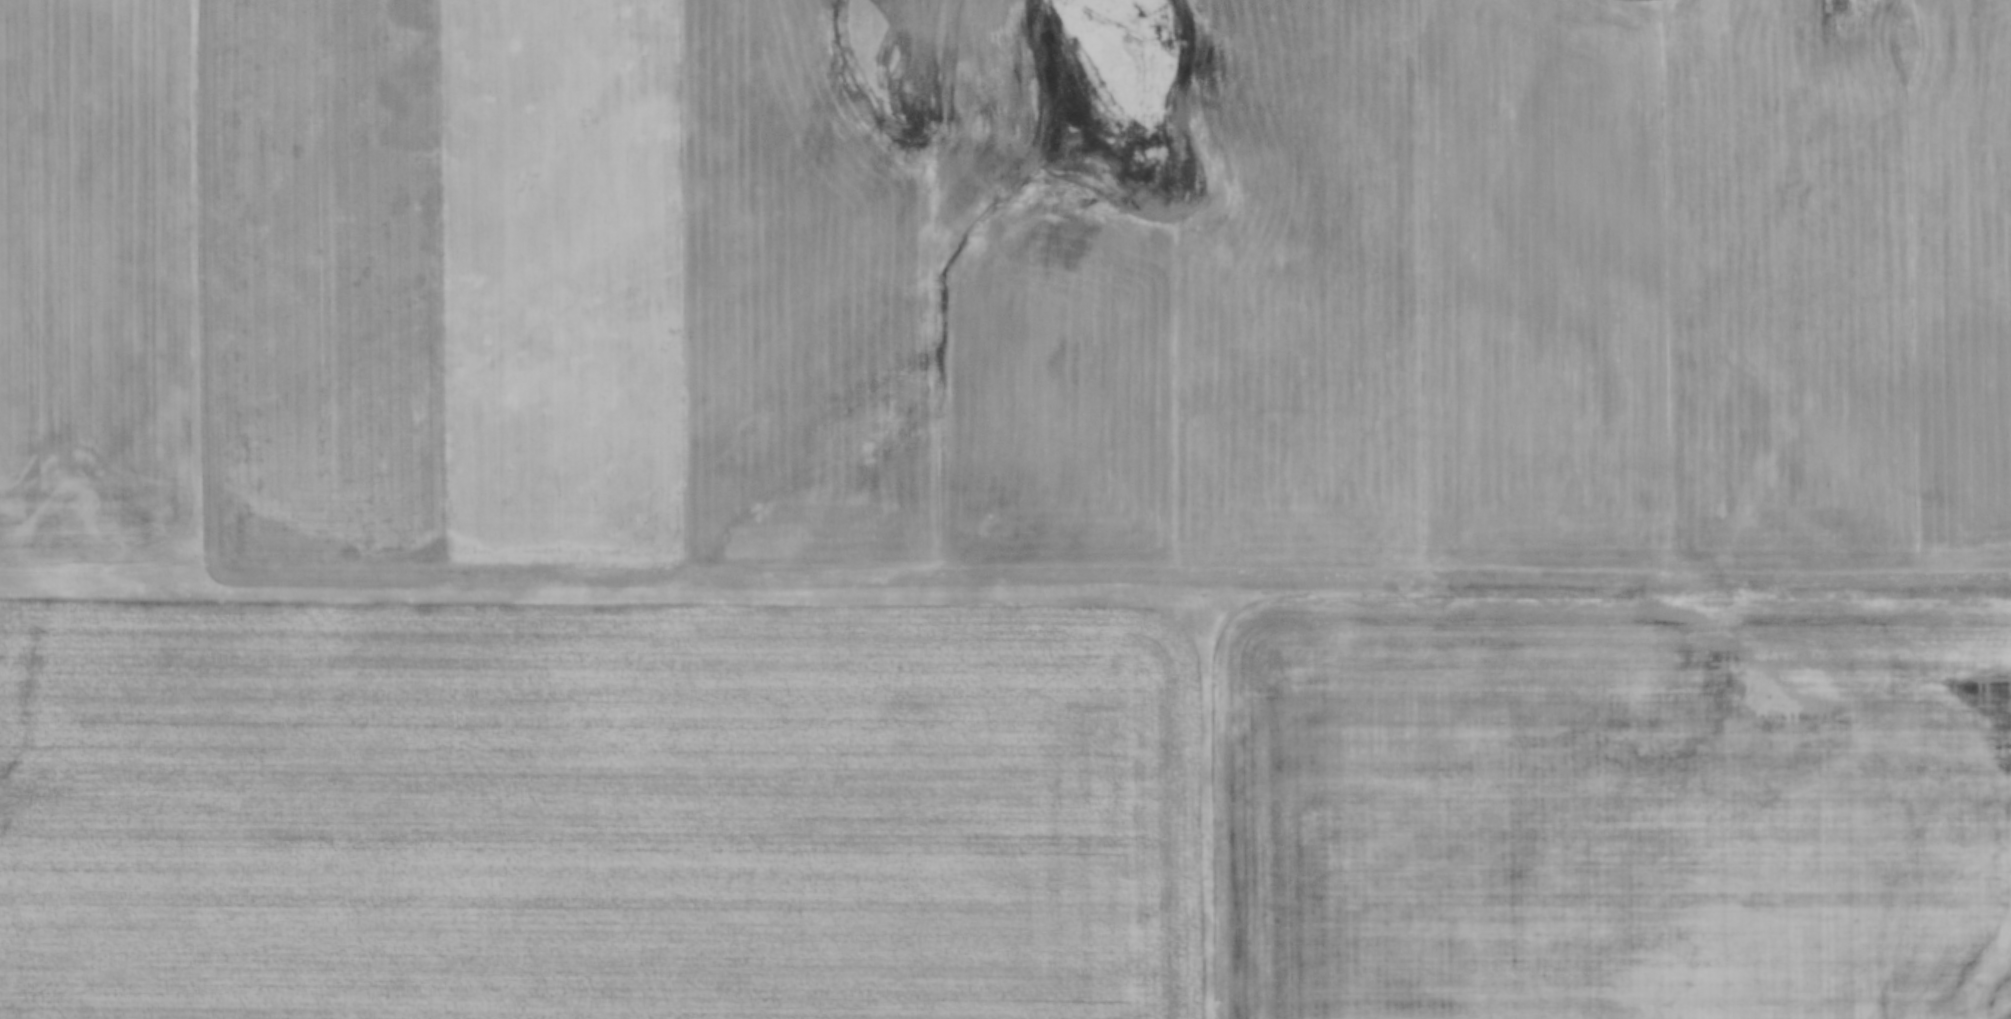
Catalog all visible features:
road: (1005, 567)
crop: (594, 812)

